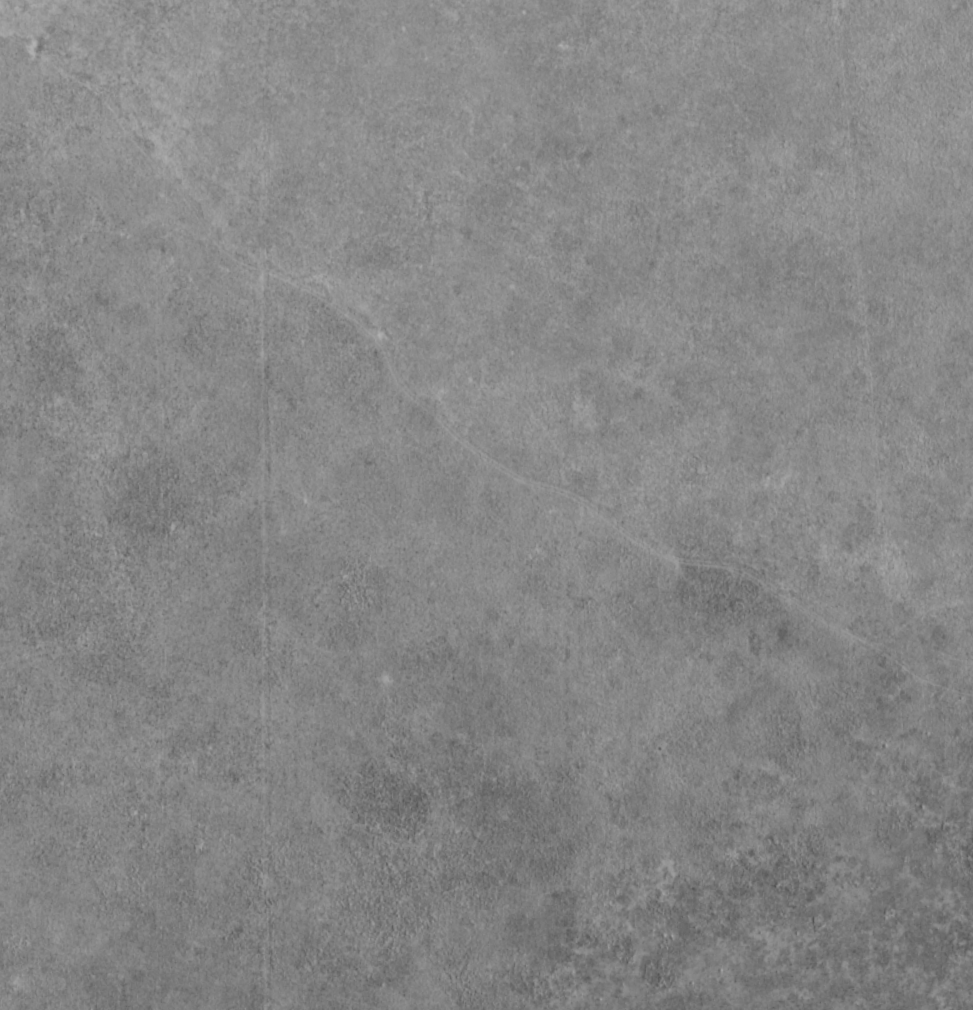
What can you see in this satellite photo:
helipad: (381, 1000)

